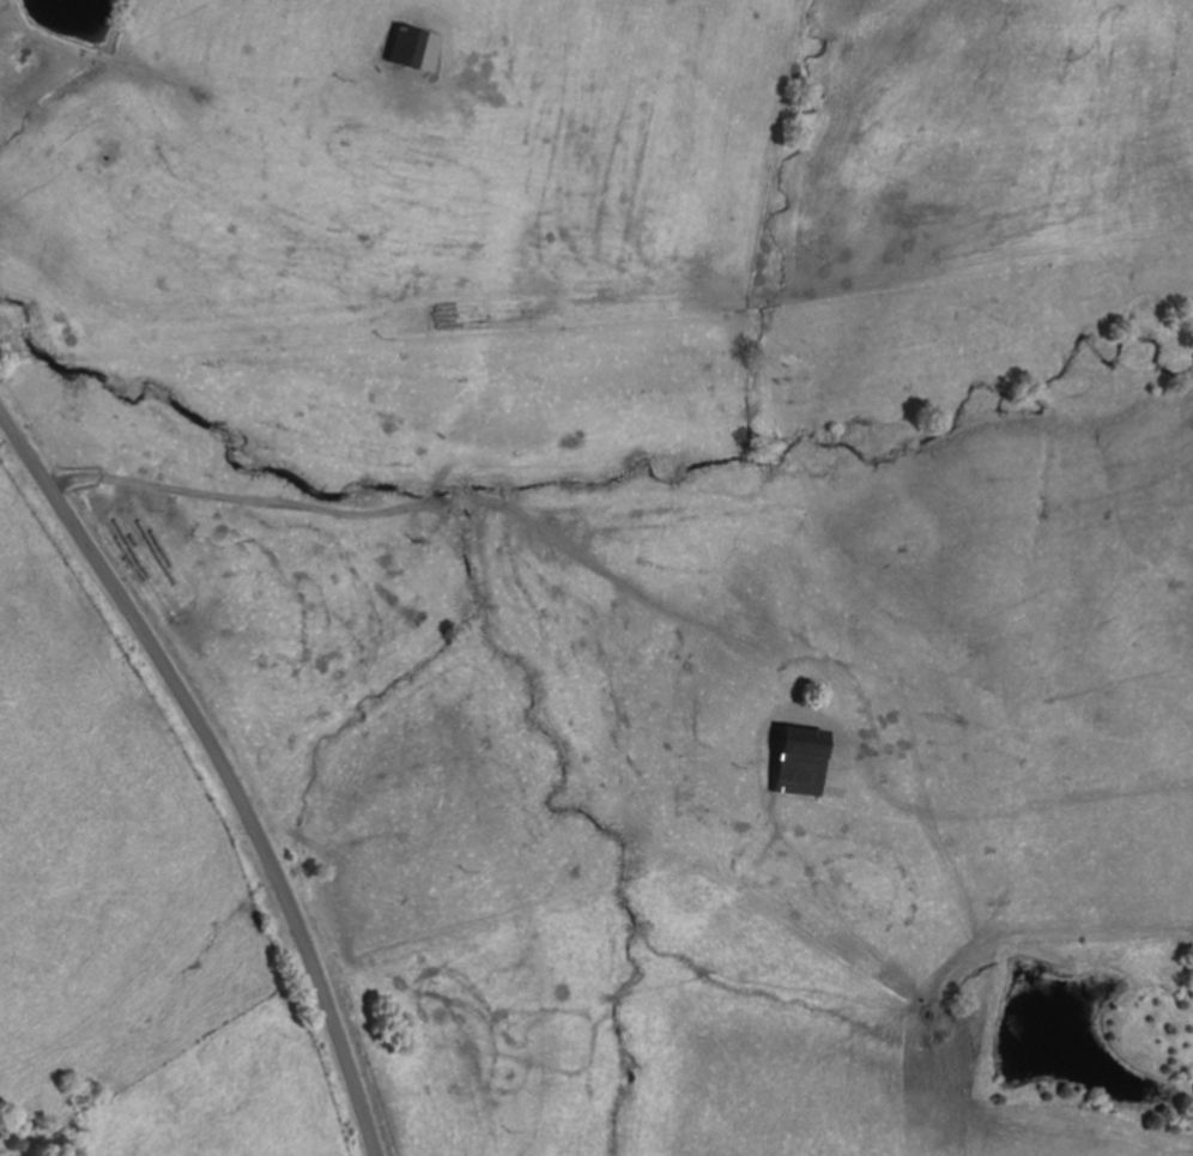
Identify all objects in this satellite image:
building: (401, 48)
road: (405, 506)
building: (795, 763)
road: (223, 767)

